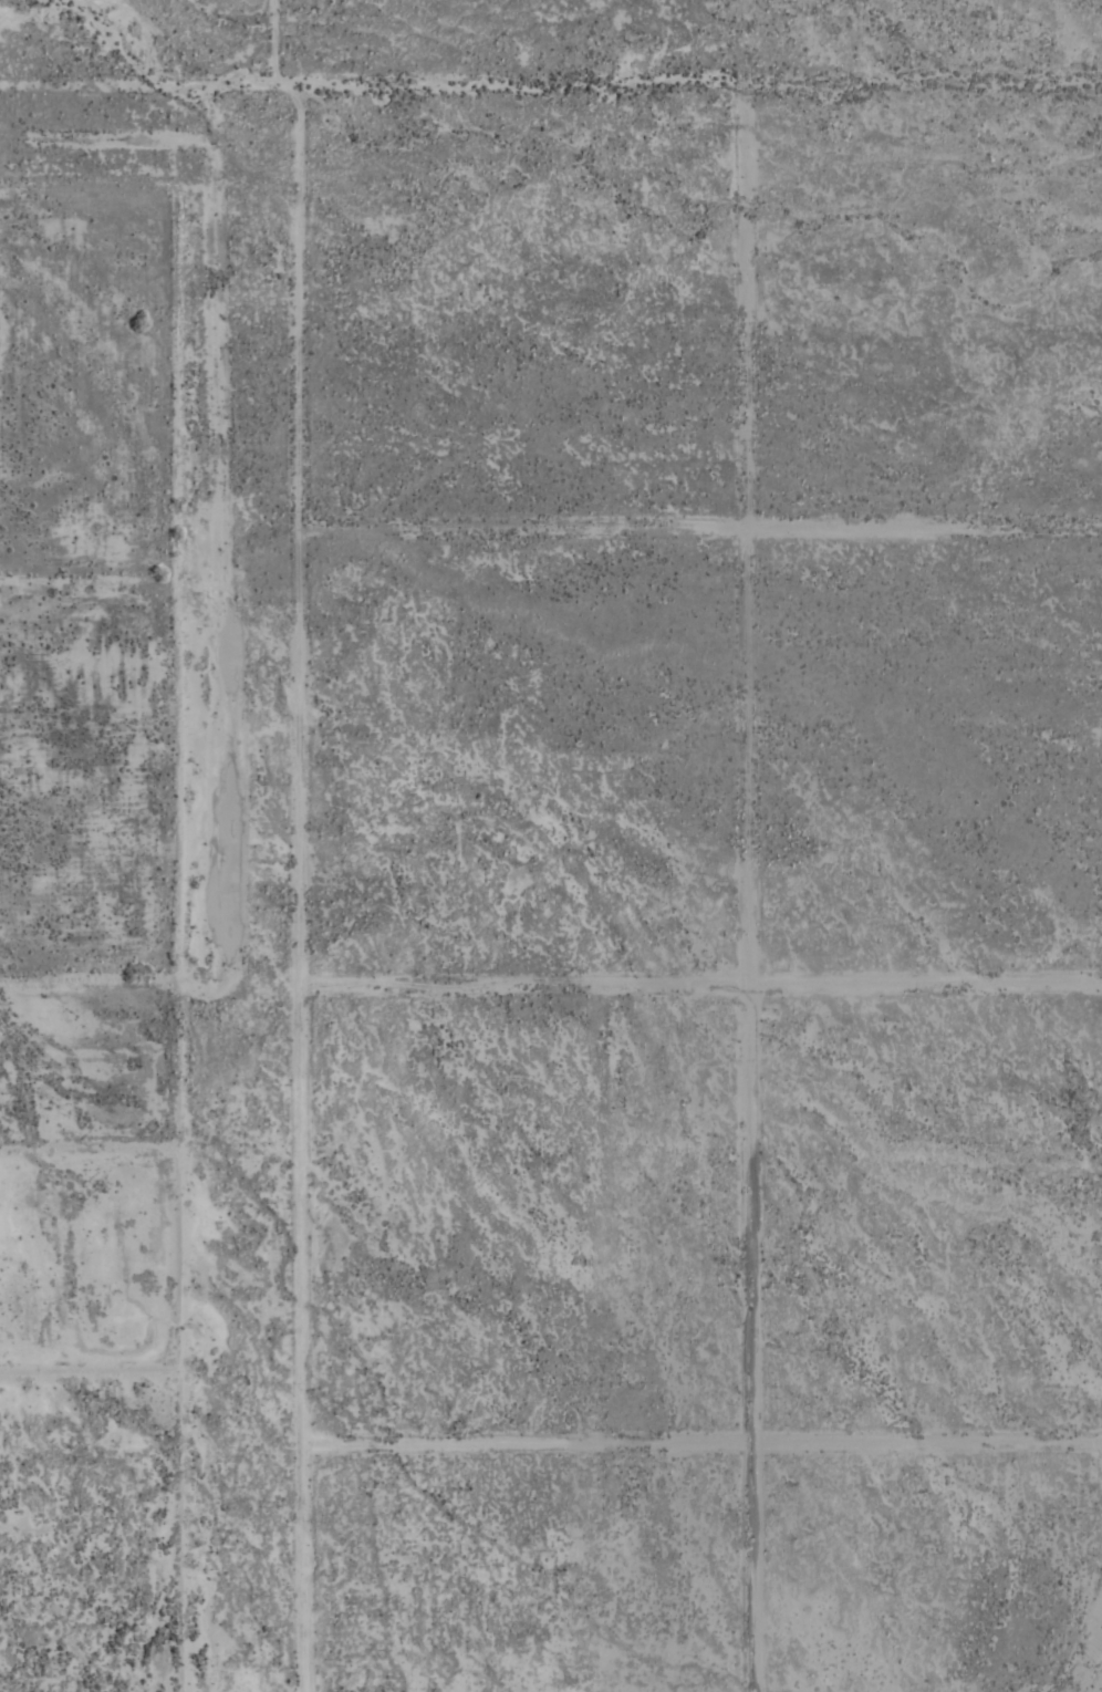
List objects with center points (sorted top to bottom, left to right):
railway: (181, 1416)
railway: (175, 1426)

